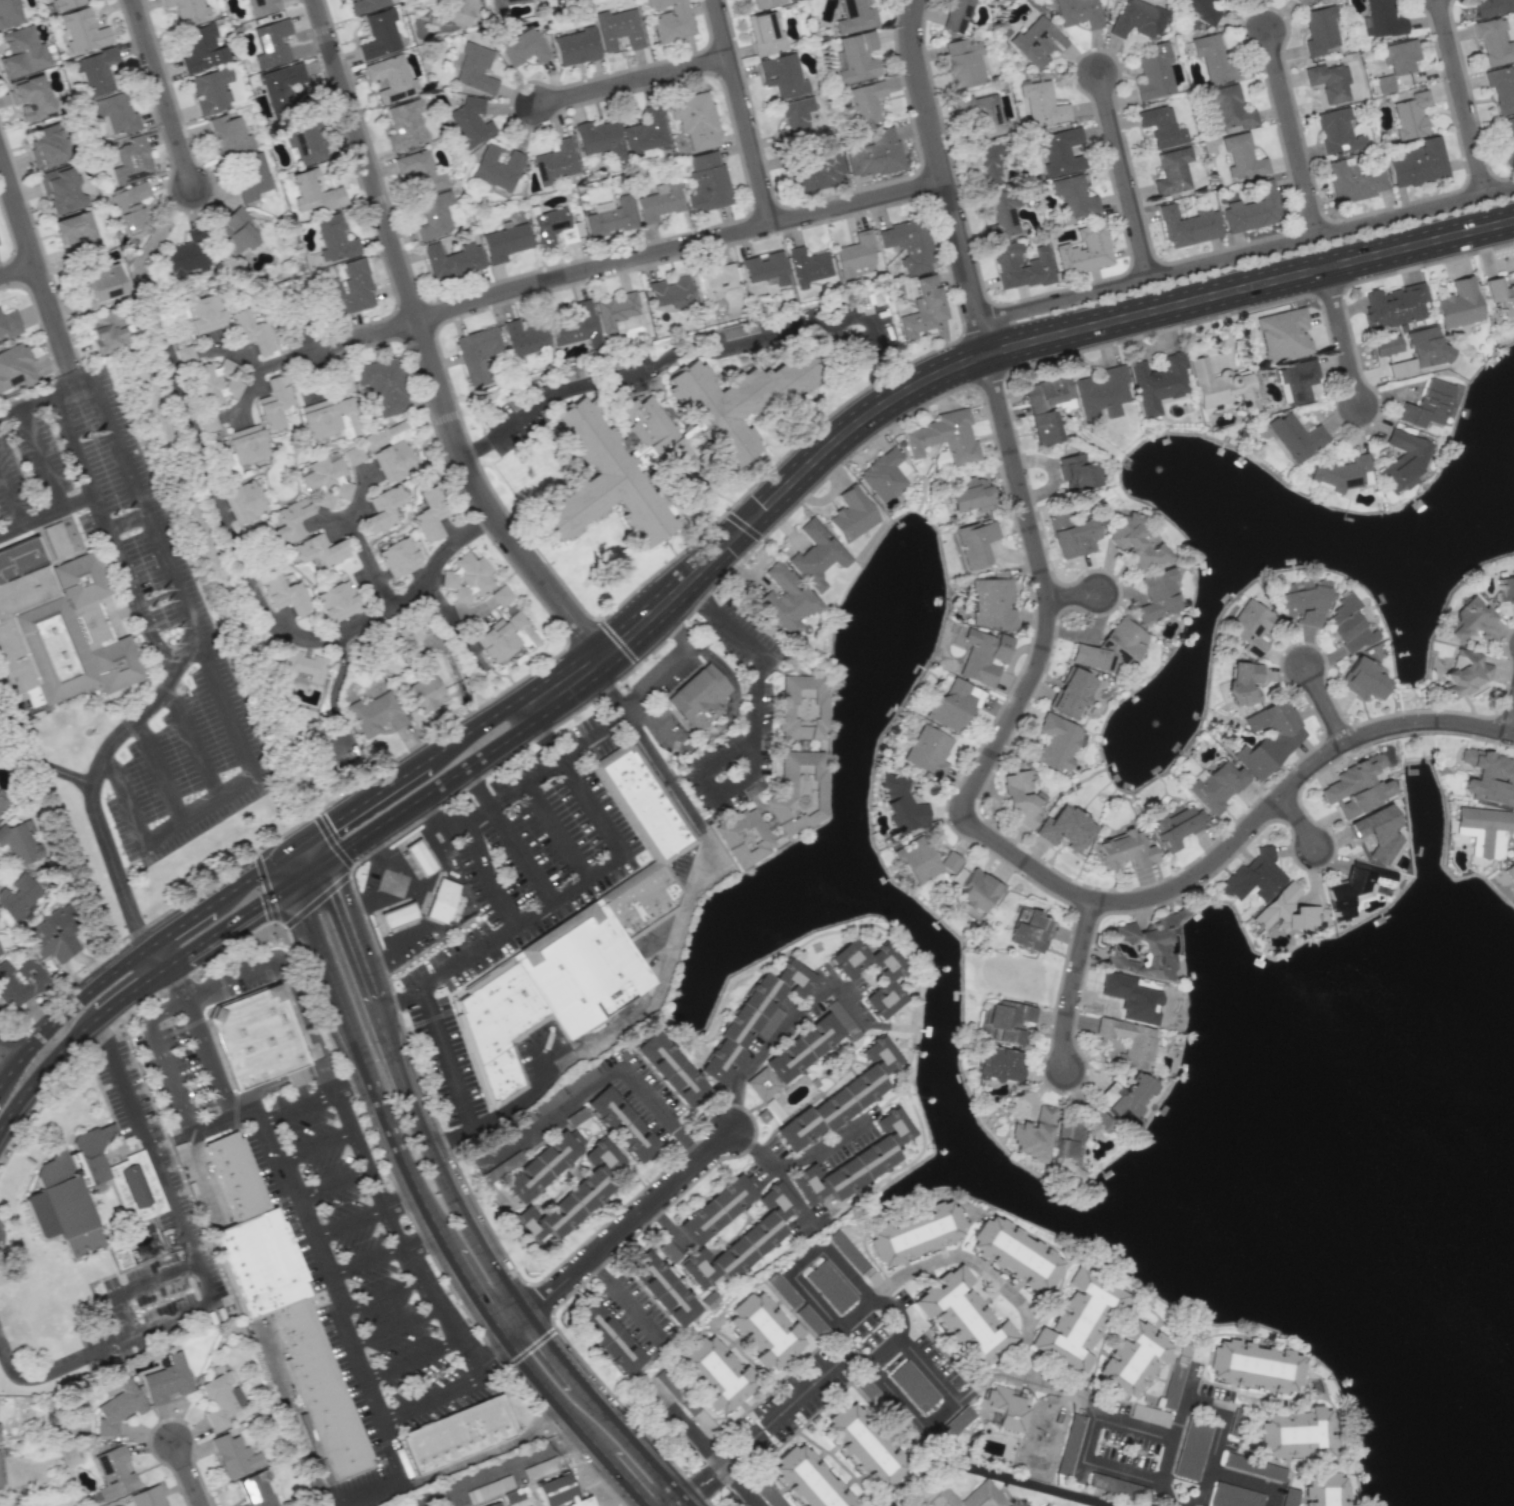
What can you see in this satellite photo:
building: (1301, 2)
building: (765, 3)
building: (66, 4)
building: (503, 4)
building: (365, 5)
building: (262, 6)
building: (1492, 6)
building: (1200, 10)
building: (188, 11)
building: (456, 11)
building: (8, 13)
building: (1077, 13)
building: (957, 15)
building: (854, 16)
building: (1137, 19)
building: (1381, 19)
building: (671, 20)
building: (619, 29)
building: (84, 30)
building: (1319, 30)
building: (379, 34)
building: (764, 34)
building: (1036, 41)
building: (1494, 41)
building: (271, 43)
building: (575, 46)
building: (524, 47)
building: (201, 48)
building: (22, 52)
building: (1399, 56)
building: (855, 57)
building: (1211, 57)
building: (963, 62)
building: (474, 69)
building: (96, 70)
building: (1154, 72)
building: (782, 75)
building: (391, 78)
road: (633, 82)
building: (1329, 82)
building: (283, 87)
building: (1501, 88)
building: (210, 90)
building: (29, 96)
road: (1462, 96)
building: (865, 102)
building: (1042, 104)
building: (1231, 109)
road: (744, 111)
building: (982, 113)
building: (114, 114)
building: (1410, 115)
building: (695, 119)
building: (794, 119)
building: (469, 122)
building: (404, 125)
building: (1161, 127)
building: (1337, 131)
building: (645, 133)
road: (1292, 133)
building: (229, 135)
building: (305, 138)
building: (598, 139)
building: (1506, 139)
building: (46, 146)
road: (184, 154)
building: (873, 154)
building: (1242, 157)
building: (129, 160)
building: (555, 161)
building: (1418, 163)
building: (990, 164)
building: (419, 170)
building: (817, 171)
building: (1172, 171)
road: (1121, 175)
building: (251, 176)
road: (944, 178)
building: (1355, 179)
building: (707, 182)
building: (60, 190)
building: (314, 191)
building: (1073, 198)
building: (659, 202)
building: (129, 205)
building: (1252, 209)
building: (434, 215)
building: (1002, 215)
building: (611, 218)
building: (1189, 226)
building: (555, 227)
building: (77, 231)
building: (235, 232)
building: (335, 238)
building: (505, 242)
building: (909, 244)
building: (1085, 250)
road: (1245, 253)
building: (187, 254)
building: (855, 255)
building: (451, 260)
road: (626, 260)
road: (35, 263)
building: (1020, 265)
building: (808, 266)
building: (766, 268)
road: (18, 271)
building: (714, 281)
building: (100, 285)
building: (350, 288)
building: (671, 292)
building: (1499, 295)
building: (1458, 304)
building: (1394, 305)
building: (923, 307)
building: (617, 312)
building: (204, 313)
building: (9, 324)
building: (572, 324)
road: (159, 325)
building: (105, 331)
building: (251, 332)
building: (1283, 334)
road: (1339, 336)
building: (524, 338)
road: (425, 346)
building: (1386, 348)
building: (1419, 352)
building: (184, 354)
building: (476, 355)
road: (987, 355)
road: (672, 360)
building: (15, 366)
road: (252, 368)
building: (1296, 379)
building: (214, 383)
building: (1158, 383)
building: (384, 385)
building: (1220, 386)
building: (1100, 394)
road: (45, 397)
building: (736, 400)
building: (273, 403)
building: (1427, 405)
building: (1046, 407)
building: (330, 418)
building: (652, 430)
building: (1296, 436)
building: (945, 437)
road: (71, 445)
road: (119, 446)
building: (239, 449)
building: (389, 449)
building: (353, 455)
road: (41, 456)
building: (1403, 461)
building: (1076, 472)
building: (1339, 472)
building: (884, 474)
building: (327, 480)
building: (602, 481)
building: (969, 494)
road: (9, 500)
building: (243, 501)
building: (382, 509)
road: (45, 512)
building: (429, 513)
building: (851, 514)
building: (289, 522)
road: (109, 528)
building: (1072, 534)
building: (976, 542)
building: (1135, 544)
building: (320, 550)
building: (816, 555)
building: (398, 557)
road: (369, 562)
road: (172, 574)
building: (466, 577)
road: (130, 581)
building: (1504, 589)
building: (284, 594)
building: (501, 595)
road: (1074, 595)
building: (1157, 595)
building: (786, 599)
building: (337, 601)
building: (991, 603)
building: (1301, 603)
road: (267, 614)
road: (452, 619)
building: (1469, 620)
building: (1349, 625)
building: (1250, 626)
building: (57, 628)
road: (676, 629)
building: (506, 637)
road: (617, 642)
building: (1110, 646)
road: (163, 654)
building: (980, 655)
building: (302, 665)
building: (1466, 671)
building: (1364, 679)
building: (1241, 683)
building: (425, 691)
building: (1071, 693)
building: (699, 697)
road: (152, 700)
building: (953, 704)
building: (803, 706)
road: (1327, 706)
building: (376, 714)
road: (492, 716)
road: (1512, 726)
road: (757, 727)
road: (594, 734)
building: (1268, 737)
road: (544, 740)
building: (1055, 742)
road: (193, 745)
building: (927, 751)
road: (656, 764)
road: (255, 772)
road: (159, 773)
building: (1488, 777)
road: (447, 782)
building: (1215, 786)
building: (1358, 786)
road: (474, 790)
building: (799, 791)
building: (1019, 798)
building: (1, 801)
building: (642, 803)
road: (361, 804)
road: (589, 805)
building: (902, 805)
road: (121, 806)
road: (472, 817)
road: (1302, 821)
road: (443, 824)
building: (1175, 826)
building: (1064, 828)
road: (554, 829)
building: (1483, 830)
building: (1378, 832)
road: (421, 833)
building: (744, 837)
building: (20, 842)
building: (1124, 850)
road: (516, 855)
building: (419, 857)
parking lot: (536, 857)
building: (917, 859)
building: (950, 861)
road: (1021, 861)
road: (296, 865)
road: (115, 869)
building: (1510, 871)
road: (309, 875)
road: (485, 875)
road: (583, 875)
road: (345, 876)
building: (1253, 877)
road: (390, 885)
road: (267, 886)
building: (1355, 887)
building: (977, 890)
building: (1513, 891)
building: (18, 896)
building: (442, 900)
gas station: (442, 900)
building: (1286, 911)
building: (397, 915)
road: (232, 925)
road: (416, 926)
building: (1029, 930)
building: (52, 937)
road: (481, 944)
building: (1145, 950)
road: (137, 953)
building: (30, 973)
building: (885, 975)
building: (561, 977)
road: (332, 978)
road: (176, 982)
road: (207, 986)
road: (1074, 986)
road: (657, 989)
road: (132, 990)
building: (1131, 998)
road: (395, 1000)
building: (753, 1017)
building: (1006, 1020)
building: (255, 1035)
building: (1129, 1041)
building: (803, 1048)
road: (205, 1050)
road: (6, 1056)
building: (997, 1065)
road: (313, 1068)
road: (45, 1069)
building: (671, 1069)
road: (296, 1074)
road: (351, 1081)
road: (401, 1082)
building: (761, 1083)
road: (268, 1086)
road: (581, 1091)
building: (841, 1097)
building: (1126, 1097)
road: (296, 1107)
road: (227, 1117)
road: (183, 1119)
road: (467, 1122)
building: (621, 1124)
building: (1032, 1134)
road: (725, 1140)
road: (450, 1141)
road: (828, 1144)
building: (1066, 1145)
road: (314, 1147)
road: (154, 1160)
building: (856, 1161)
road: (406, 1165)
building: (541, 1166)
road: (367, 1170)
road: (777, 1171)
road: (329, 1185)
building: (135, 1188)
building: (69, 1191)
building: (570, 1198)
road: (402, 1200)
building: (718, 1207)
road: (346, 1222)
building: (914, 1233)
road: (420, 1235)
building: (743, 1241)
building: (669, 1251)
building: (1014, 1254)
road: (809, 1259)
building: (853, 1259)
road: (362, 1260)
road: (985, 1270)
road: (157, 1277)
road: (325, 1284)
building: (830, 1287)
building: (663, 1288)
building: (784, 1291)
road: (476, 1292)
road: (378, 1294)
building: (282, 1301)
road: (627, 1301)
road: (865, 1304)
road: (125, 1315)
building: (963, 1317)
building: (1077, 1321)
road: (513, 1323)
road: (154, 1326)
road: (393, 1327)
building: (764, 1331)
road: (505, 1337)
building: (608, 1338)
road: (529, 1347)
road: (491, 1352)
road: (874, 1354)
road: (410, 1358)
building: (1132, 1359)
building: (1254, 1366)
road: (40, 1373)
building: (714, 1373)
building: (166, 1379)
road: (1026, 1380)
building: (1173, 1382)
road: (1189, 1385)
building: (913, 1386)
building: (666, 1392)
road: (433, 1397)
building: (220, 1399)
road: (557, 1399)
building: (877, 1402)
building: (117, 1404)
road: (1202, 1407)
building: (1007, 1408)
road: (604, 1411)
road: (939, 1411)
road: (779, 1412)
building: (960, 1420)
road: (1179, 1420)
road: (1133, 1428)
building: (1235, 1428)
building: (458, 1433)
building: (1295, 1433)
building: (1072, 1439)
road: (703, 1445)
building: (864, 1447)
building: (1192, 1448)
building: (233, 1455)
road: (1211, 1464)
building: (1254, 1466)
road: (505, 1467)
building: (113, 1472)
road: (187, 1472)
road: (1138, 1473)
road: (921, 1476)
building: (807, 1478)
road: (1249, 1480)
road: (629, 1481)
road: (1030, 1483)
building: (984, 1486)
road: (693, 1487)
building: (1117, 1487)
building: (256, 1489)
road: (368, 1489)
building: (1323, 1489)
building: (483, 1491)
building: (559, 1492)
building: (1234, 1496)
building: (146, 1497)
building: (1285, 1502)
building: (493, 1504)
building: (1046, 1505)

